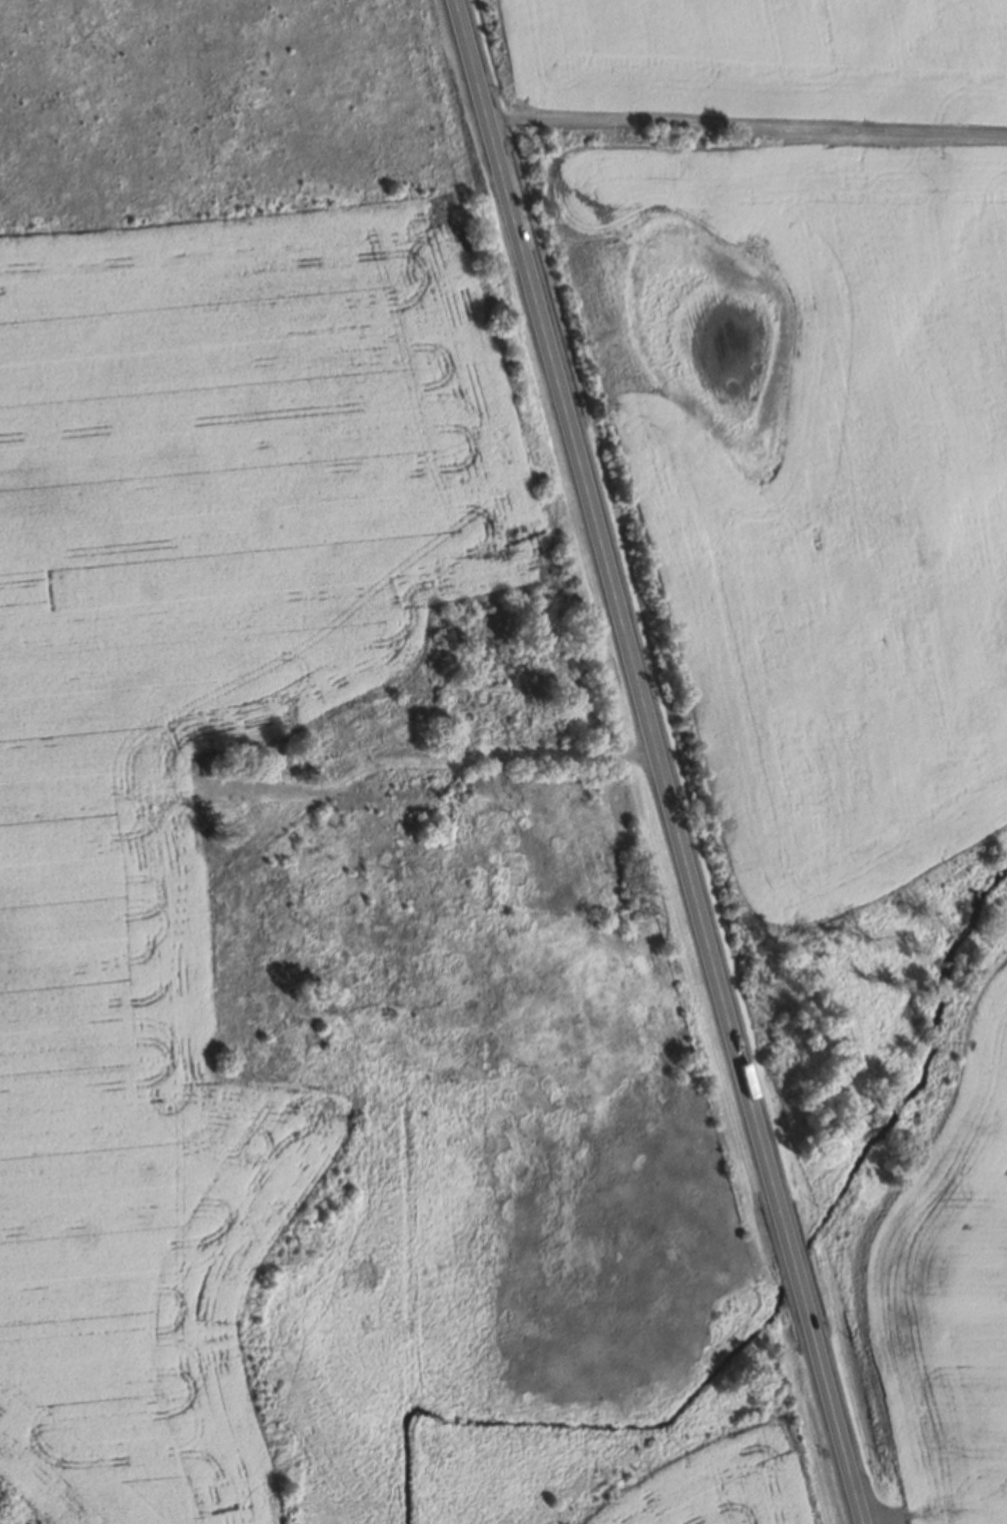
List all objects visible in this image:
road: (747, 126)
road: (427, 756)
road: (659, 762)

